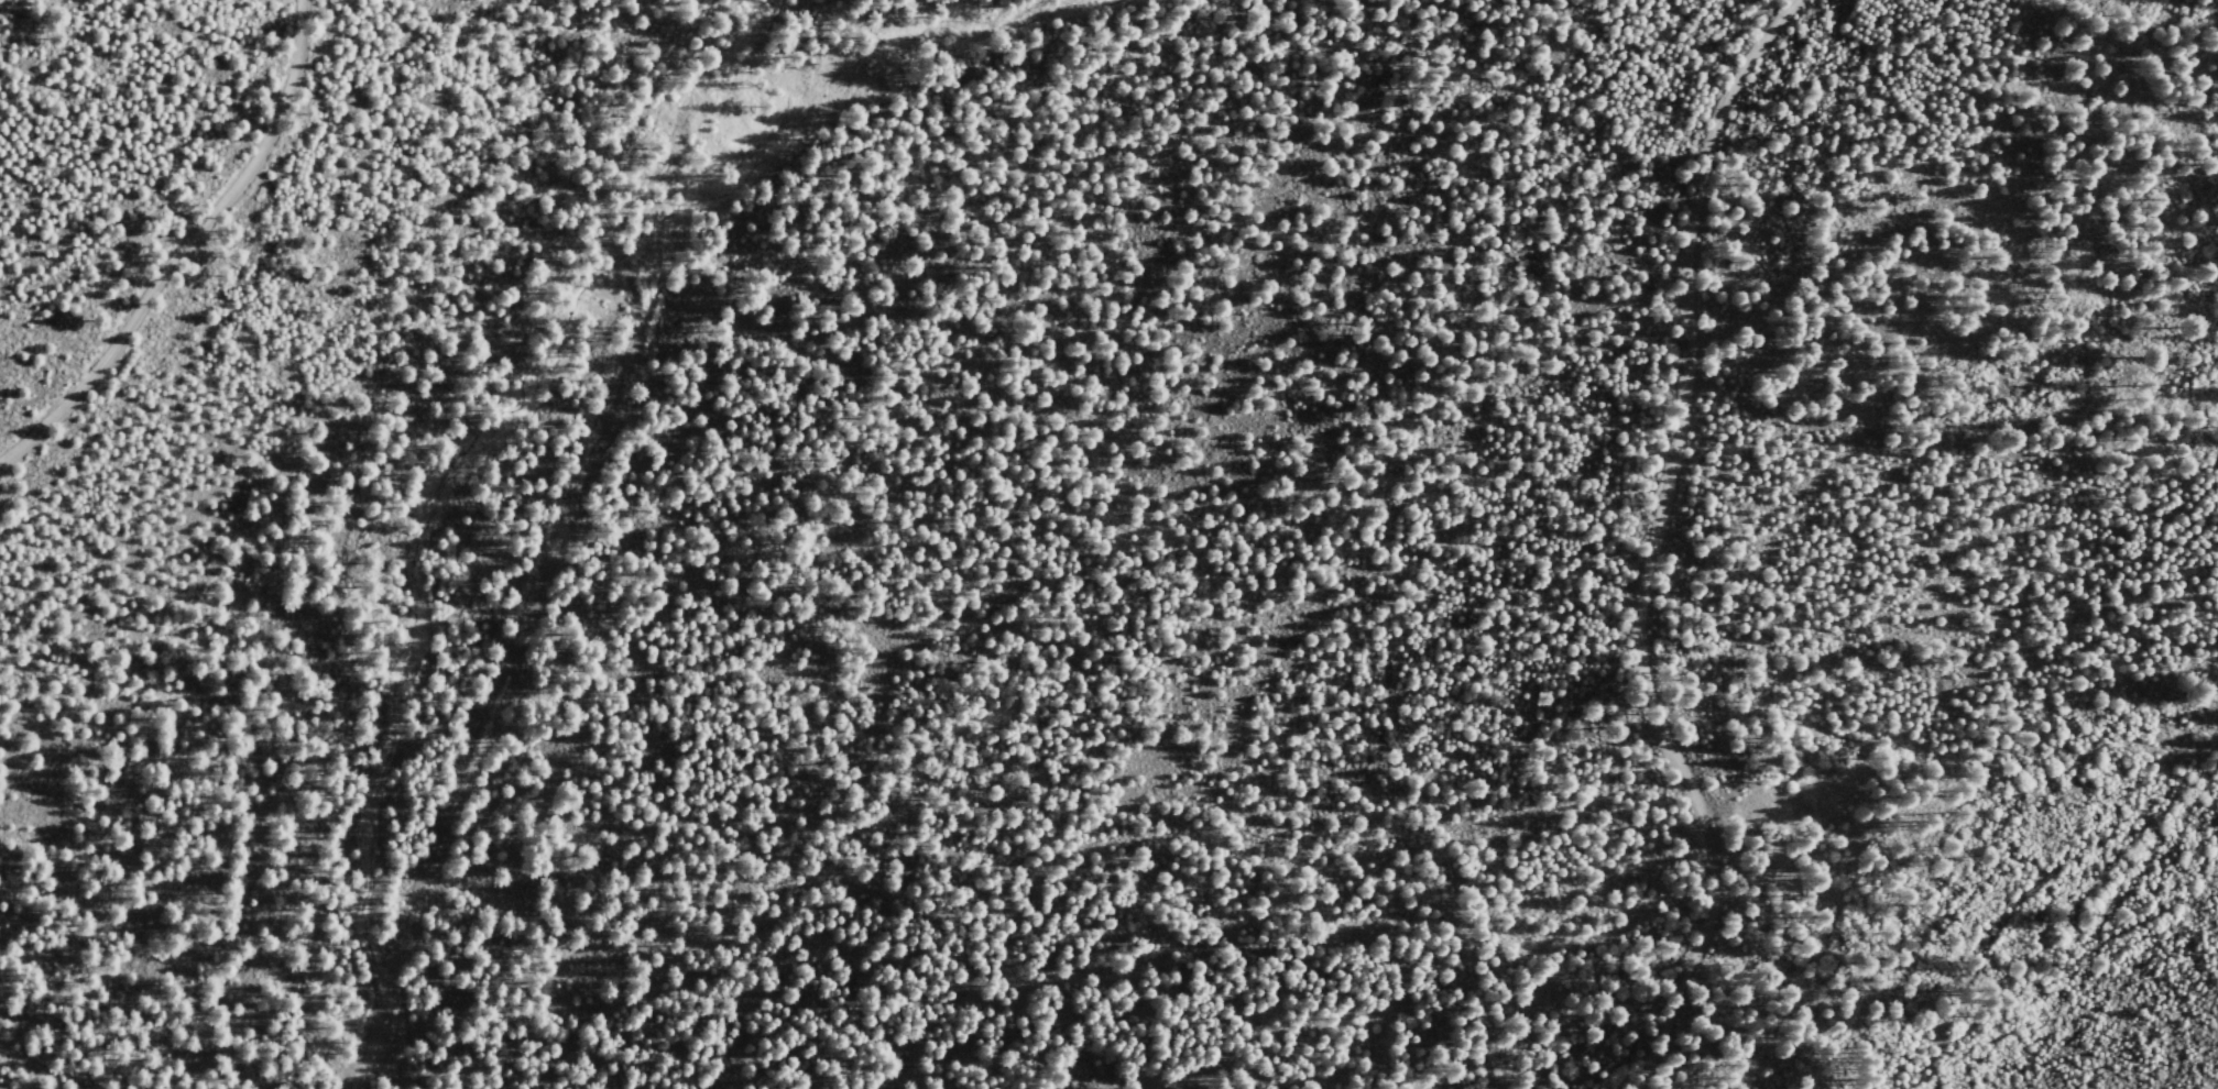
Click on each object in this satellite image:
road: (188, 250)
road: (1654, 542)

